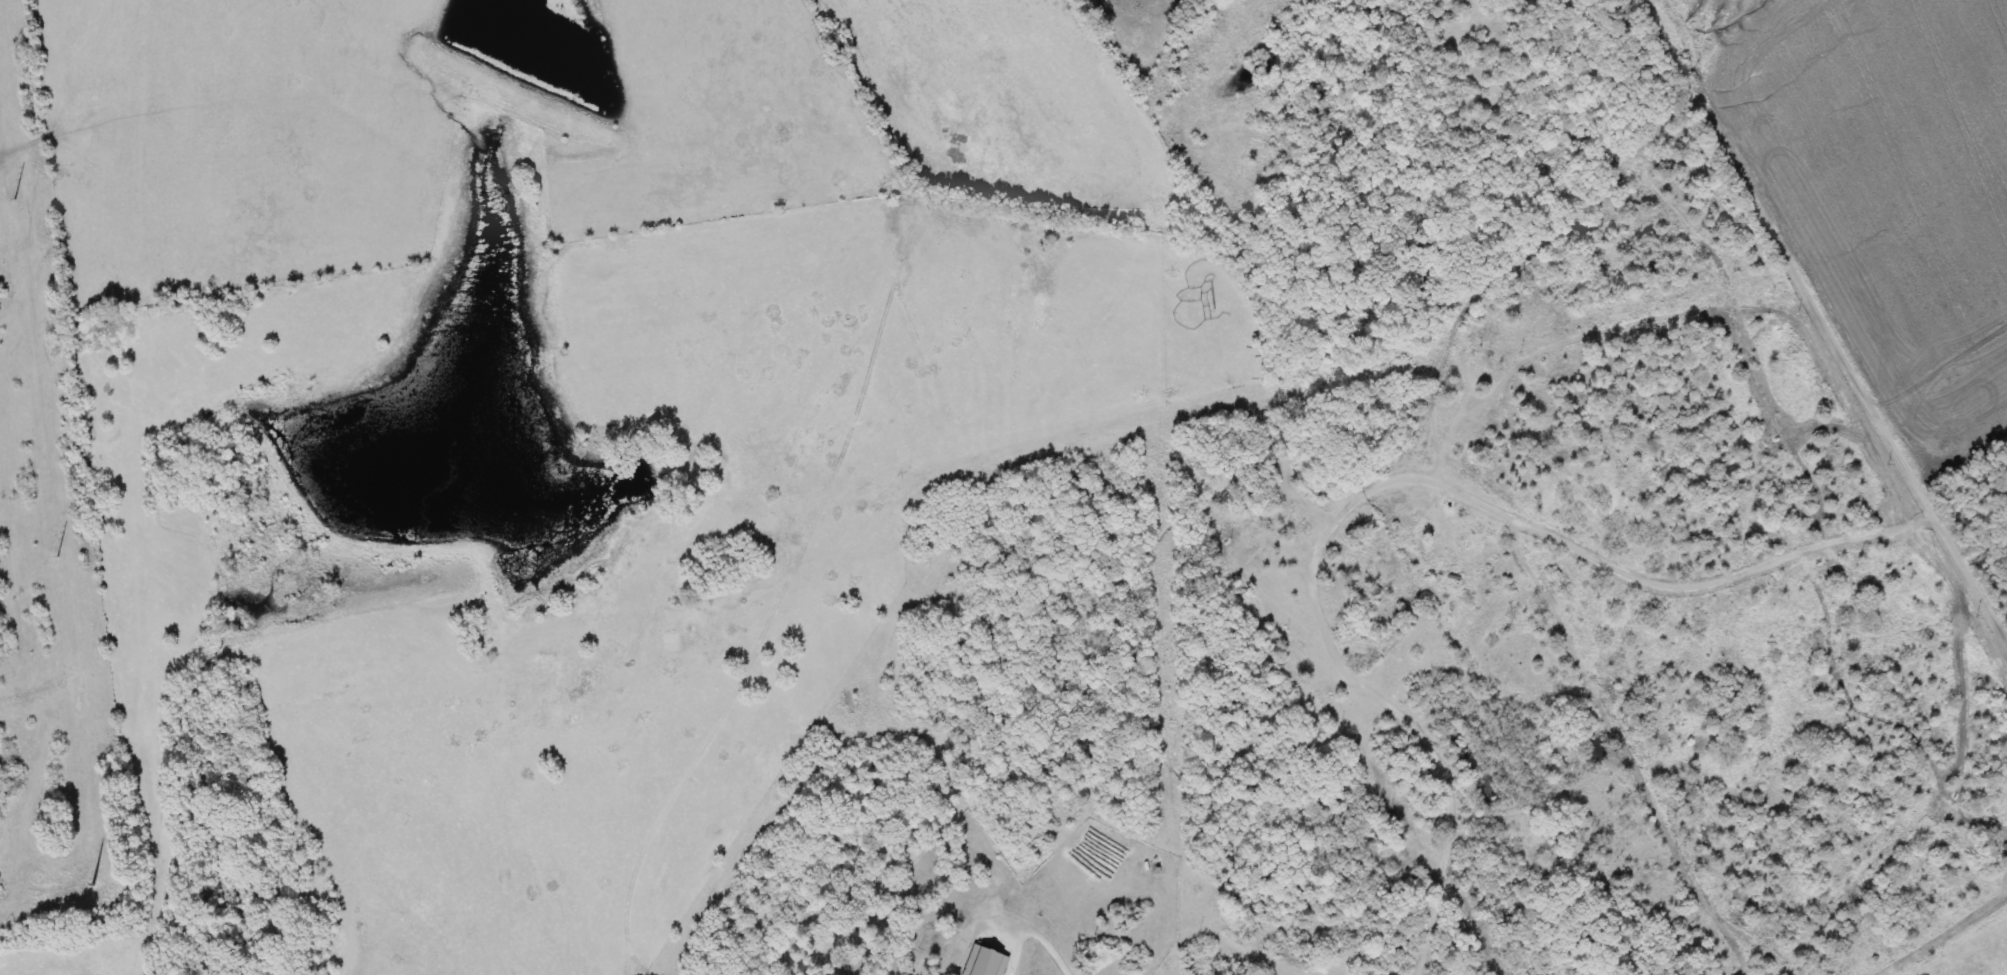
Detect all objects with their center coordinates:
road: (1823, 319)

